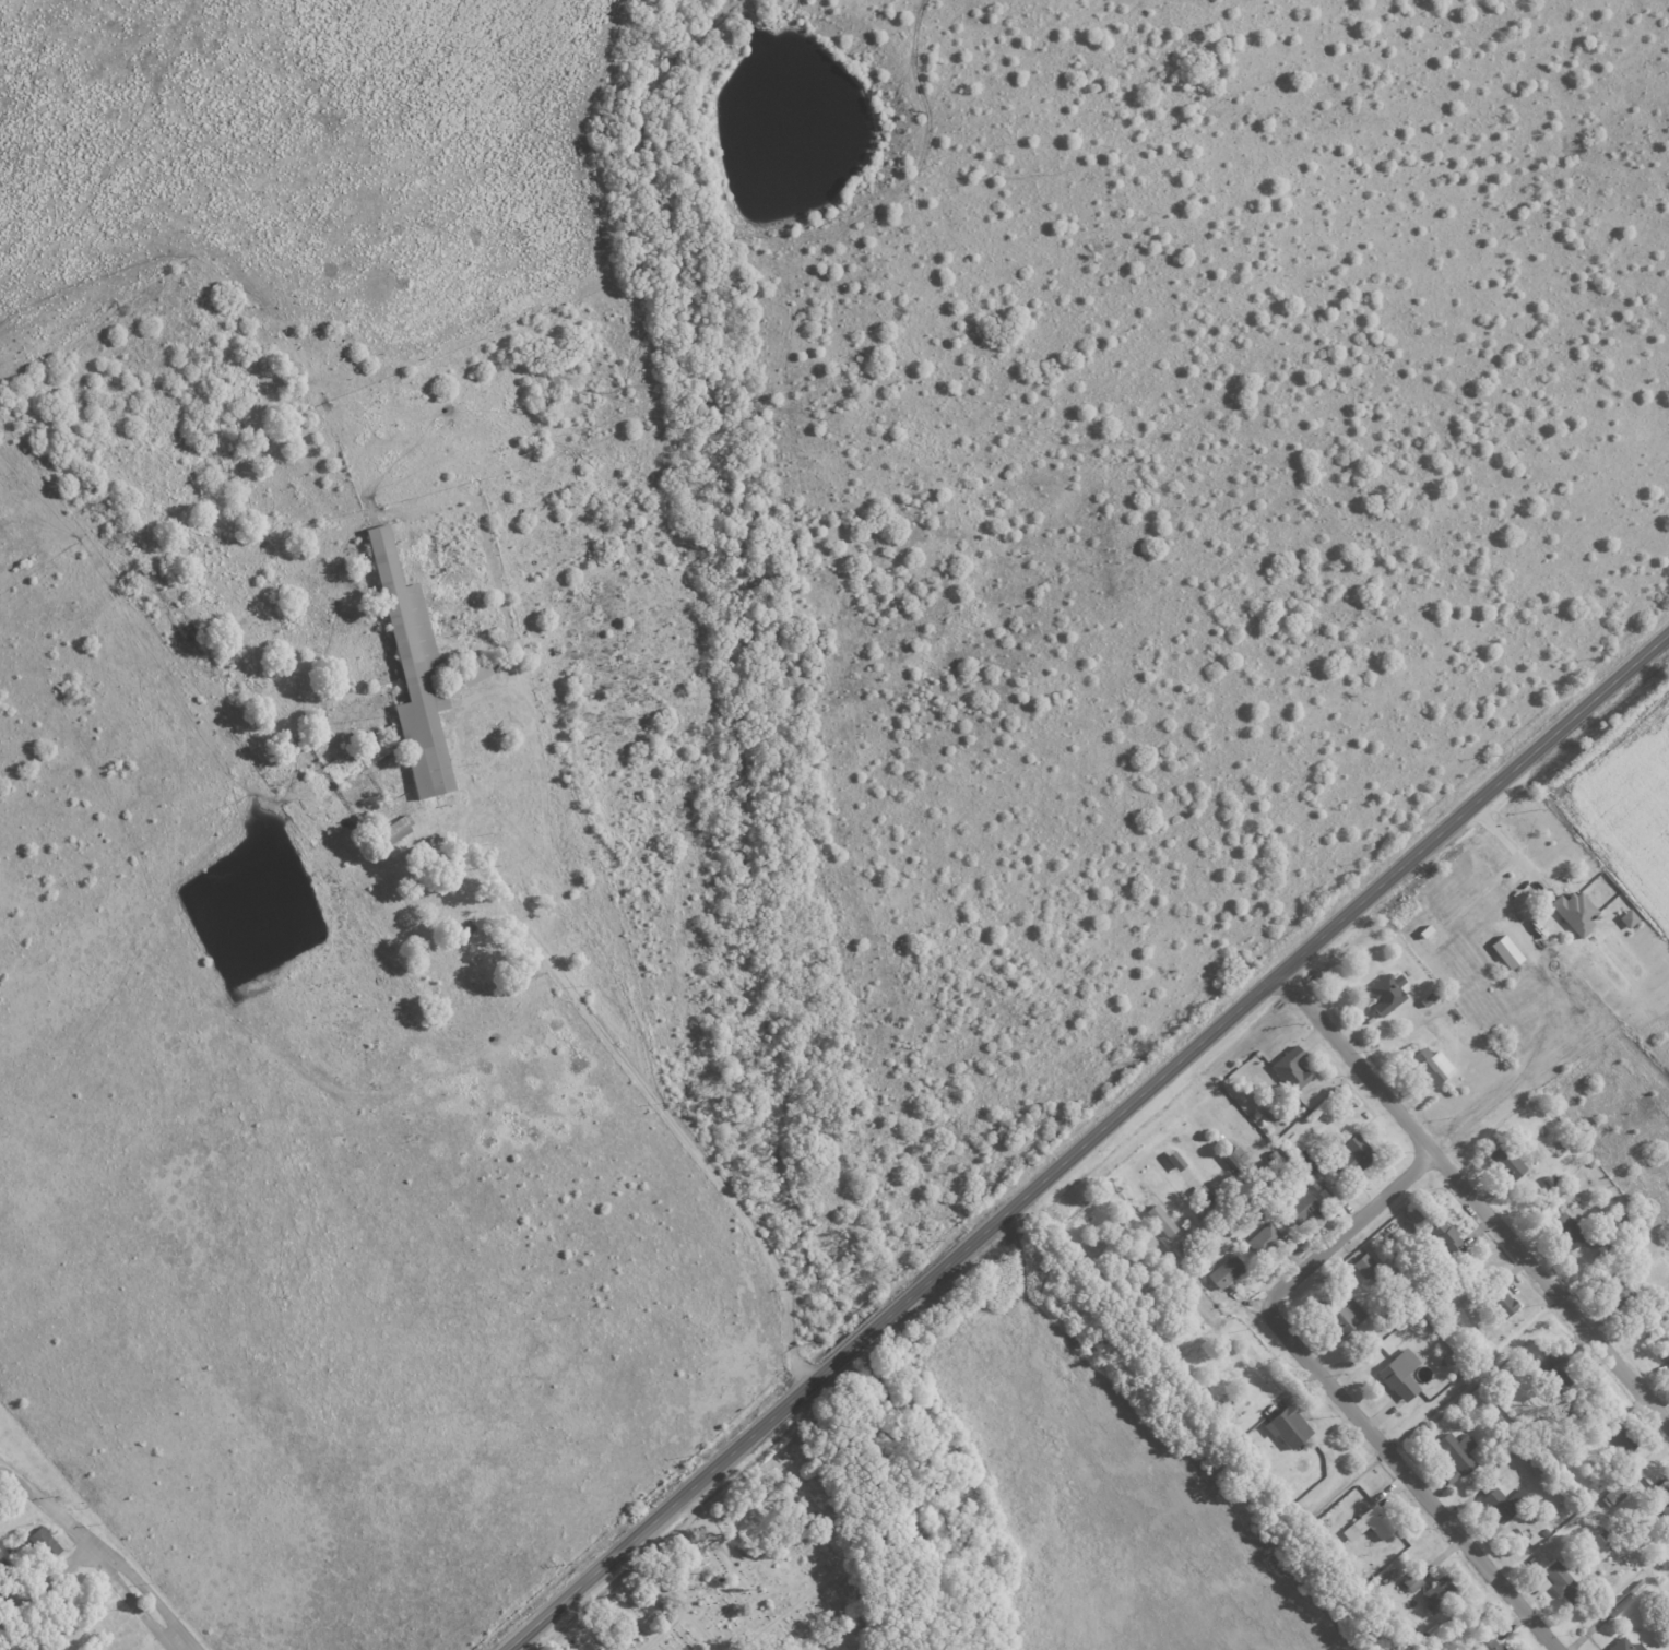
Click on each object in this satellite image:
building: (418, 672)
building: (482, 673)
road: (462, 819)
building: (402, 828)
road: (1510, 848)
building: (1571, 912)
building: (1623, 917)
building: (1501, 951)
building: (1383, 993)
building: (1436, 1061)
building: (1413, 1065)
building: (1287, 1068)
road: (1089, 1142)
building: (1346, 1149)
building: (1502, 1159)
road: (1473, 1198)
building: (1293, 1207)
building: (1157, 1219)
road: (1350, 1230)
road: (755, 1232)
building: (1259, 1238)
building: (1361, 1263)
building: (1221, 1270)
building: (1500, 1301)
building: (1346, 1313)
building: (1668, 1368)
building: (1556, 1370)
building: (1395, 1374)
building: (1283, 1426)
building: (1452, 1450)
building: (1447, 1475)
road: (1413, 1480)
building: (1611, 1494)
building: (1502, 1500)
building: (1366, 1522)
building: (1489, 1527)
building: (47, 1542)
road: (97, 1553)
building: (12, 1574)
park: (767, 1576)
building: (1555, 1578)
building: (1408, 1581)
road: (46, 1587)
building: (1614, 1605)
building: (1621, 1645)
building: (1493, 1647)

